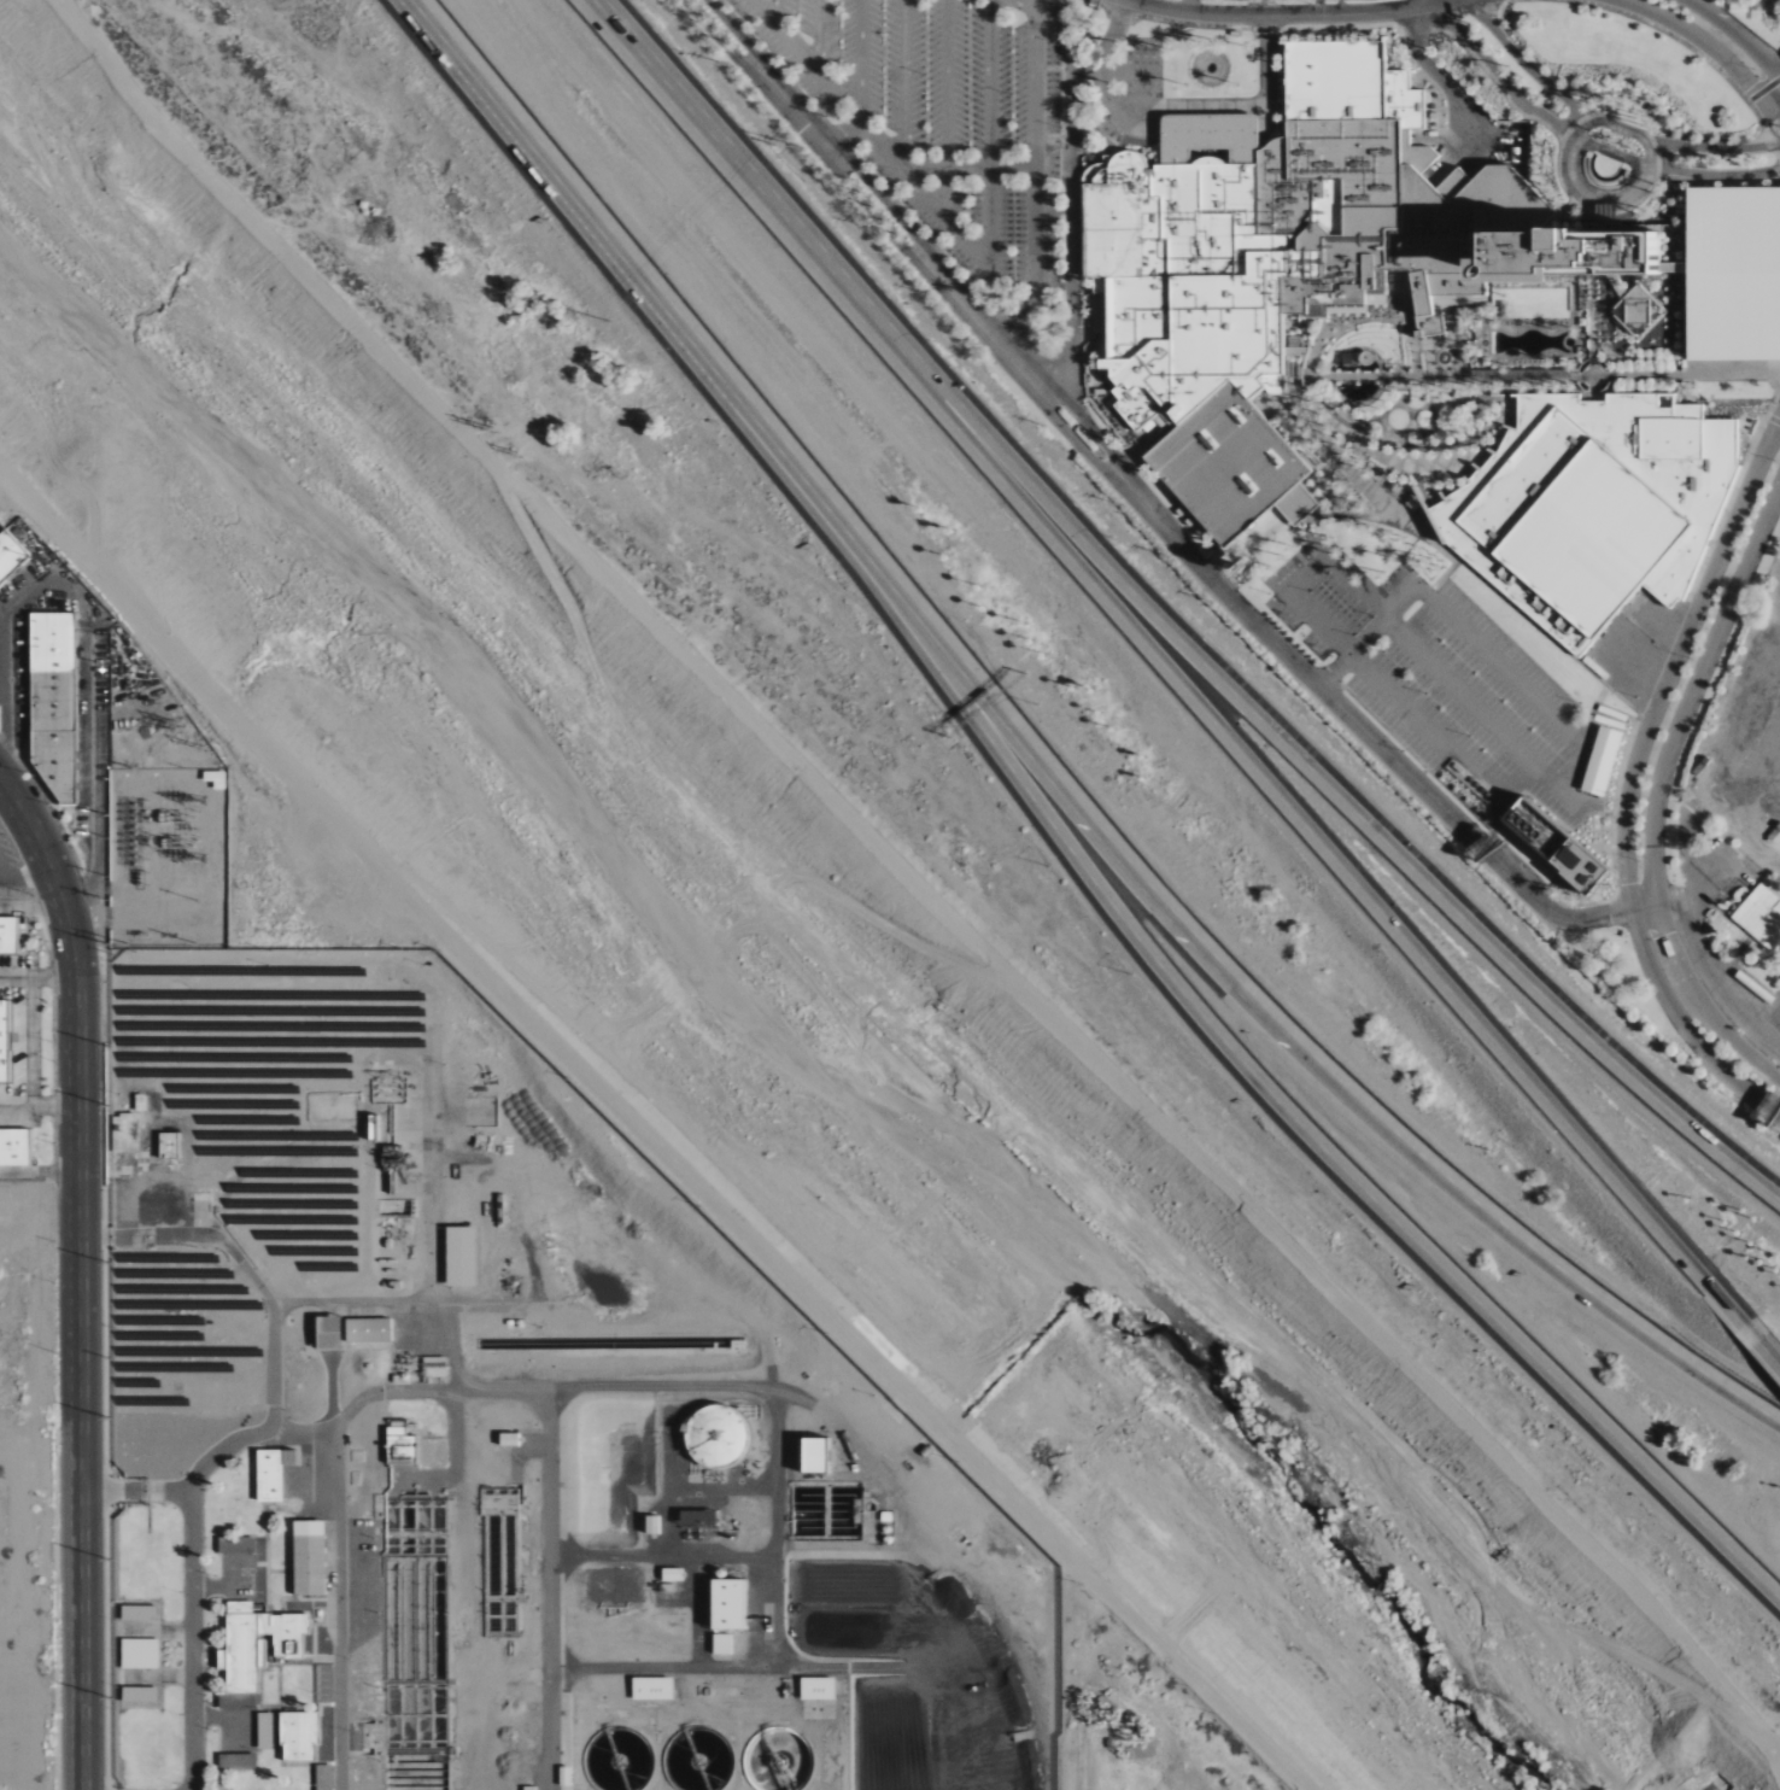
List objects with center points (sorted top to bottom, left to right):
parking lot: (1247, 0)
building: (1734, 1)
road: (1093, 2)
road: (1764, 2)
road: (1023, 4)
road: (1417, 4)
road: (1757, 4)
road: (1189, 6)
building: (1735, 7)
road: (1741, 7)
road: (1107, 12)
road: (774, 13)
road: (1284, 14)
road: (1446, 16)
building: (1752, 16)
road: (1132, 21)
road: (1429, 24)
road: (1651, 25)
road: (1194, 27)
road: (1343, 28)
road: (1280, 29)
road: (1252, 30)
road: (1265, 30)
road: (1738, 35)
road: (818, 37)
road: (1705, 42)
road: (1403, 57)
road: (803, 58)
road: (1266, 60)
road: (861, 62)
road: (1102, 66)
road: (780, 70)
road: (1047, 70)
parking lot: (1142, 70)
fountain: (1207, 70)
fountain: (1208, 70)
road: (1529, 71)
road: (1061, 72)
road: (1113, 74)
road: (1498, 75)
road: (903, 84)
road: (1763, 92)
road: (1460, 101)
road: (1201, 107)
road: (948, 111)
parking lot: (941, 113)
road: (1070, 119)
road: (1766, 119)
road: (1047, 121)
road: (1208, 130)
road: (1272, 133)
road: (1072, 134)
road: (990, 135)
road: (1048, 138)
road: (1441, 138)
road: (842, 140)
road: (1493, 145)
road: (1035, 148)
road: (1770, 148)
road: (1708, 150)
road: (1120, 151)
road: (1205, 152)
road: (1225, 152)
road: (1093, 154)
road: (732, 159)
road: (966, 168)
fountain: (1608, 169)
fountain: (1605, 174)
road: (560, 176)
road: (1710, 177)
road: (1564, 181)
road: (874, 188)
road: (1565, 192)
road: (925, 197)
road: (1614, 217)
road: (898, 241)
building: (1306, 268)
building: (1740, 274)
parking lot: (1740, 274)
road: (1688, 275)
road: (1070, 279)
road: (1058, 285)
road: (1592, 294)
road: (1594, 294)
road: (1591, 308)
building: (1506, 310)
road: (1106, 312)
road: (1569, 312)
road: (1099, 316)
road: (1015, 318)
road: (1586, 322)
road: (1474, 334)
road: (1588, 338)
building: (1366, 358)
building: (1352, 359)
road: (1696, 362)
road: (1586, 365)
fountain: (1580, 367)
fountain: (1602, 367)
fountain: (1524, 370)
building: (1299, 372)
road: (1382, 372)
road: (1328, 373)
road: (1381, 373)
road: (1766, 374)
road: (1313, 382)
road: (1516, 382)
road: (1328, 384)
road: (1381, 384)
fountain: (1602, 387)
fountain: (1581, 388)
road: (1592, 403)
road: (1327, 404)
road: (1687, 405)
road: (1329, 408)
road: (1331, 411)
road: (1446, 411)
road: (1346, 413)
road: (1772, 420)
road: (1084, 423)
road: (1483, 423)
fountain: (1353, 427)
road: (1378, 441)
road: (1387, 444)
road: (1752, 445)
road: (1410, 446)
road: (1746, 450)
road: (1140, 456)
road: (1357, 456)
road: (1381, 475)
road: (1462, 478)
building: (1534, 480)
road: (1382, 490)
road: (1732, 497)
road: (1718, 528)
building: (1456, 531)
road: (1409, 536)
building: (1605, 540)
building: (1450, 548)
road: (1318, 550)
building: (10, 555)
road: (1308, 575)
road: (1427, 592)
road: (1368, 638)
parking lot: (1510, 654)
road: (1665, 660)
road: (1676, 660)
road: (1501, 668)
parking lot: (1435, 684)
road: (1451, 686)
road: (1693, 688)
road: (1610, 692)
road: (1395, 698)
road: (1753, 698)
building: (52, 702)
road: (95, 702)
parking lot: (1752, 714)
road: (1388, 755)
road: (1585, 761)
road: (1769, 766)
building: (1702, 767)
road: (1313, 773)
road: (1521, 780)
road: (1752, 784)
road: (17, 796)
road: (1614, 805)
building: (1563, 807)
road: (1466, 808)
road: (1510, 809)
road: (1299, 821)
building: (1774, 836)
building: (1552, 846)
road: (1690, 858)
parking lot: (1704, 859)
road: (1720, 876)
road: (1718, 896)
road: (34, 909)
building: (1762, 918)
road: (1728, 923)
building: (7, 935)
road: (1191, 938)
road: (1743, 948)
road: (1709, 964)
road: (40, 977)
parking lot: (1737, 977)
road: (1700, 1005)
road: (520, 1010)
road: (1200, 1013)
road: (1686, 1026)
building: (2, 1042)
road: (29, 1042)
road: (41, 1108)
building: (168, 1146)
building: (13, 1148)
road: (41, 1172)
building: (459, 1257)
road: (285, 1300)
road: (83, 1301)
building: (368, 1330)
building: (327, 1334)
road: (1756, 1347)
road: (274, 1367)
road: (453, 1412)
road: (341, 1417)
building: (715, 1438)
building: (507, 1440)
building: (399, 1447)
building: (813, 1457)
building: (271, 1474)
road: (664, 1485)
road: (136, 1490)
road: (1767, 1503)
building: (697, 1520)
building: (651, 1525)
road: (775, 1528)
building: (235, 1545)
road: (661, 1556)
building: (308, 1558)
building: (672, 1575)
road: (223, 1587)
road: (549, 1589)
building: (726, 1605)
road: (336, 1608)
road: (697, 1613)
building: (137, 1614)
road: (154, 1630)
building: (256, 1644)
building: (721, 1645)
building: (139, 1655)
road: (722, 1669)
road: (157, 1677)
building: (651, 1690)
building: (816, 1690)
building: (139, 1696)
building: (233, 1703)
road: (228, 1719)
building: (264, 1731)
building: (298, 1737)
building: (236, 1762)
building: (323, 1778)
building: (528, 1789)

